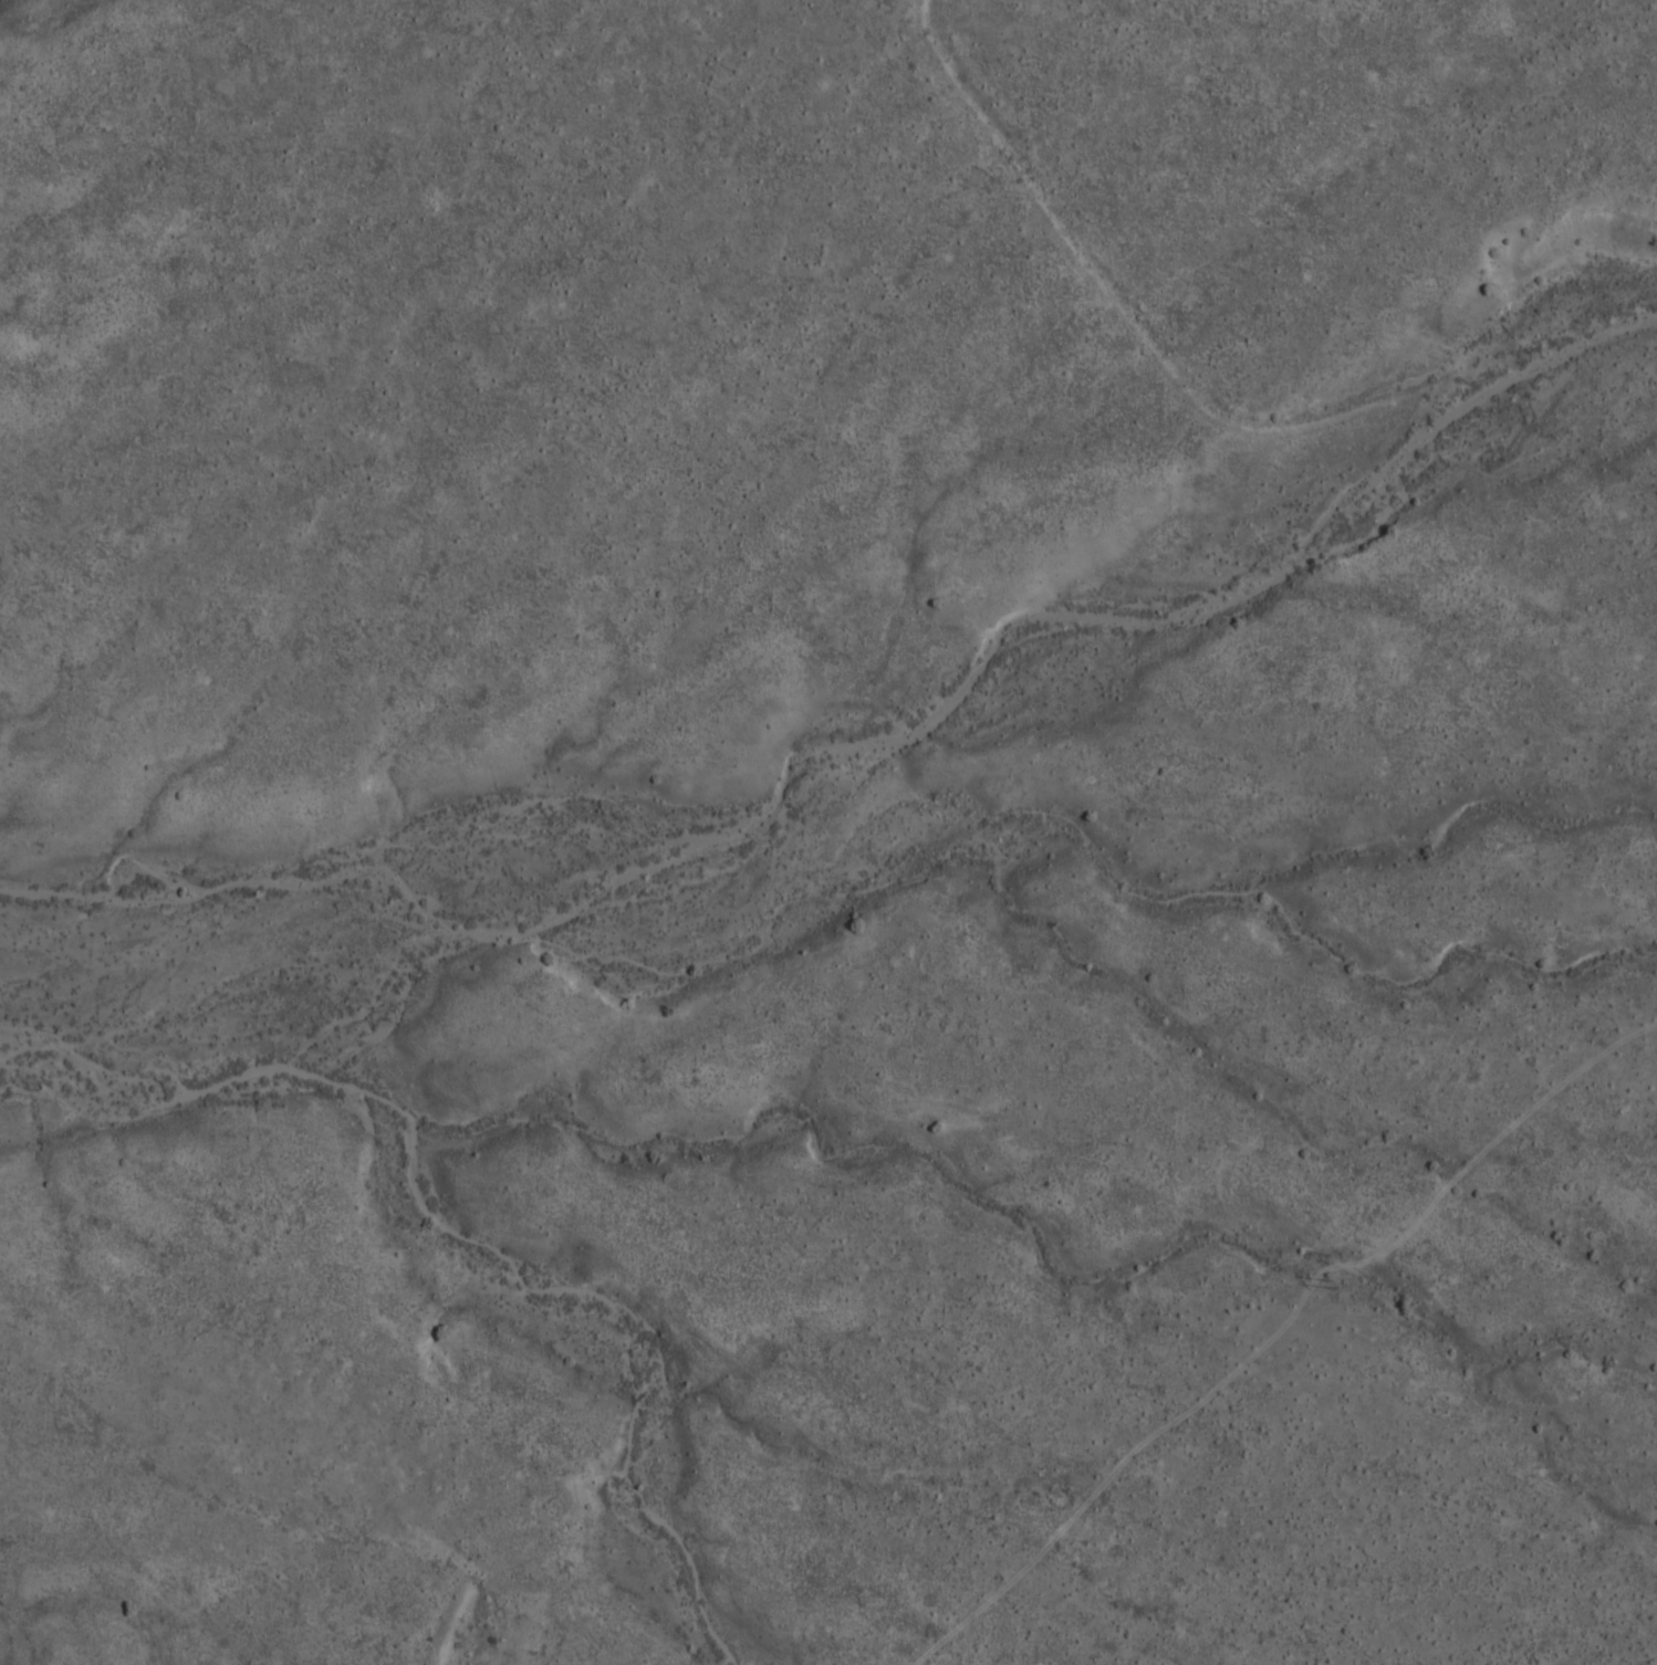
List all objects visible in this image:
power tower: (1328, 1277)

